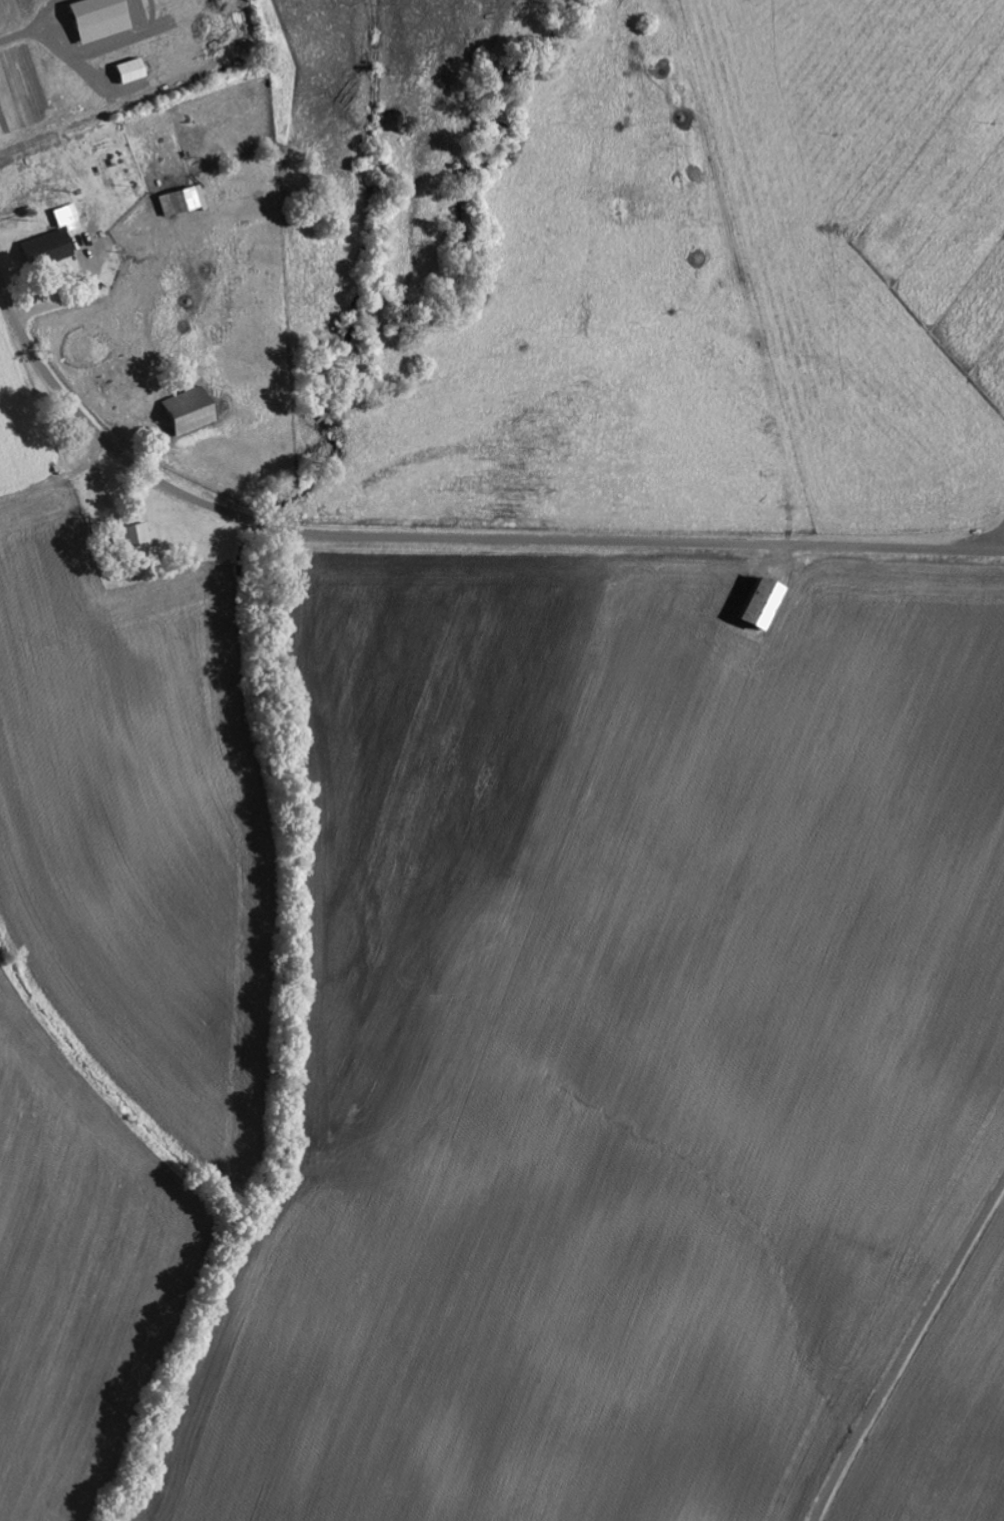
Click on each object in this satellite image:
building: (177, 199)
building: (65, 216)
building: (45, 246)
building: (185, 410)
building: (133, 532)
road: (445, 538)
road: (994, 539)
building: (759, 602)
road: (907, 1349)

